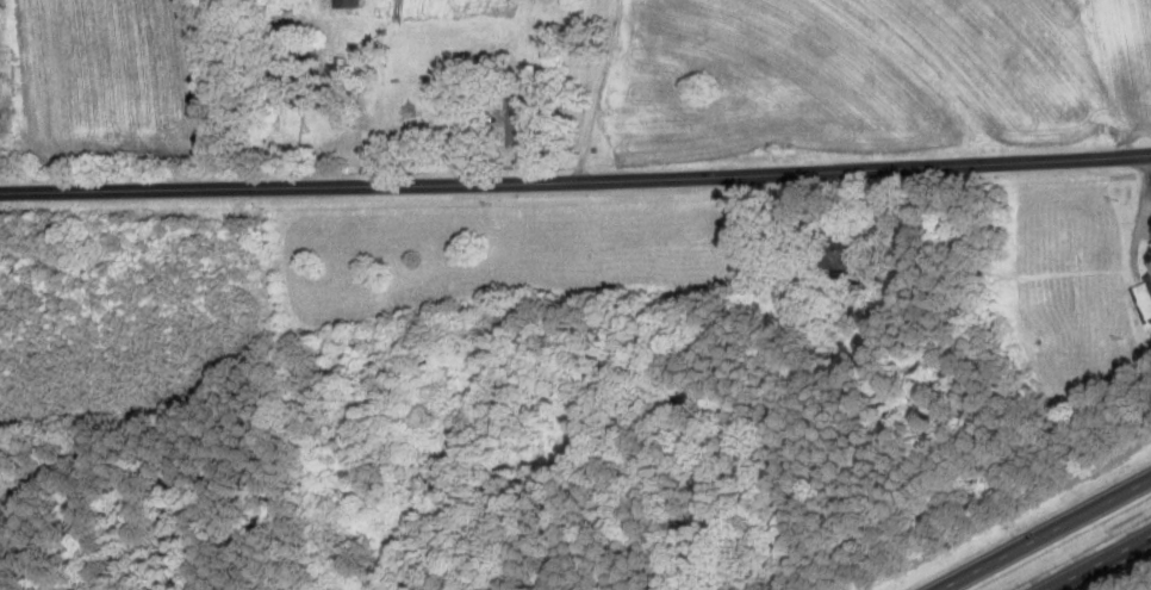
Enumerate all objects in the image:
building: (351, 2)
building: (346, 68)
road: (592, 86)
building: (321, 92)
building: (524, 122)
road: (575, 175)
road: (1045, 534)
road: (1100, 563)

